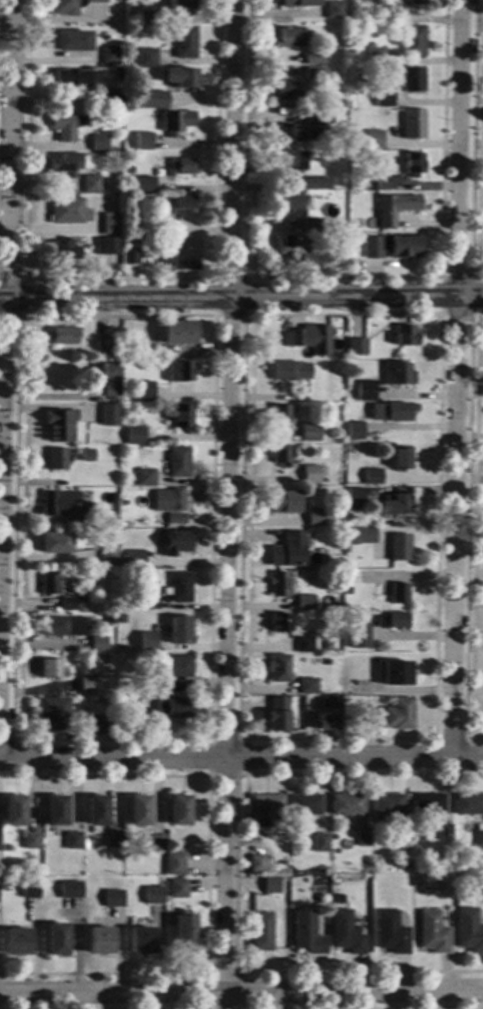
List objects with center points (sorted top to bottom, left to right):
building: (361, 2)
building: (416, 2)
building: (299, 3)
building: (181, 4)
building: (70, 6)
building: (333, 10)
building: (396, 16)
building: (147, 17)
building: (290, 38)
building: (72, 41)
building: (414, 41)
building: (345, 42)
building: (186, 43)
building: (376, 55)
building: (111, 56)
building: (147, 59)
building: (314, 59)
building: (313, 73)
building: (118, 75)
building: (72, 78)
building: (183, 78)
building: (413, 80)
building: (286, 89)
building: (384, 99)
building: (114, 101)
building: (157, 101)
building: (339, 103)
building: (314, 118)
building: (177, 122)
building: (414, 124)
building: (64, 126)
building: (290, 134)
building: (374, 140)
road: (480, 140)
building: (144, 141)
building: (102, 144)
building: (291, 160)
building: (66, 164)
building: (414, 165)
building: (181, 167)
building: (384, 182)
building: (315, 184)
building: (92, 185)
building: (144, 185)
building: (183, 202)
building: (291, 204)
building: (395, 208)
building: (68, 211)
building: (111, 225)
building: (312, 226)
building: (357, 226)
building: (164, 229)
building: (338, 242)
building: (309, 243)
building: (286, 245)
building: (108, 246)
building: (392, 247)
building: (64, 249)
building: (183, 254)
building: (130, 255)
road: (478, 277)
road: (345, 278)
road: (119, 280)
road: (24, 298)
road: (241, 298)
road: (250, 315)
building: (178, 333)
building: (63, 336)
building: (405, 336)
building: (309, 340)
building: (102, 347)
building: (356, 348)
building: (142, 352)
building: (336, 368)
building: (180, 371)
building: (290, 371)
building: (397, 373)
building: (105, 377)
road: (7, 379)
road: (460, 379)
building: (365, 391)
building: (143, 392)
building: (128, 396)
building: (392, 412)
building: (281, 414)
building: (108, 416)
building: (181, 417)
building: (59, 426)
building: (355, 431)
building: (309, 433)
building: (134, 436)
building: (86, 455)
building: (281, 455)
building: (57, 459)
building: (400, 459)
building: (178, 462)
building: (310, 475)
building: (144, 477)
building: (371, 477)
building: (354, 499)
building: (168, 501)
building: (56, 502)
building: (283, 502)
road: (231, 504)
building: (394, 505)
building: (83, 517)
building: (315, 517)
building: (175, 519)
building: (124, 522)
building: (111, 523)
road: (473, 529)
building: (366, 535)
building: (55, 543)
building: (177, 543)
building: (399, 548)
building: (288, 550)
building: (107, 559)
building: (134, 560)
building: (335, 563)
building: (49, 584)
building: (279, 585)
building: (337, 585)
building: (178, 588)
building: (399, 594)
building: (148, 601)
building: (304, 603)
building: (67, 604)
building: (121, 619)
building: (109, 620)
building: (391, 620)
building: (281, 623)
building: (63, 627)
building: (178, 630)
building: (358, 635)
building: (147, 641)
building: (327, 645)
building: (305, 646)
building: (278, 669)
building: (52, 670)
building: (174, 672)
building: (396, 674)
building: (307, 686)
building: (90, 687)
building: (289, 701)
building: (330, 703)
building: (169, 708)
building: (53, 714)
building: (400, 714)
building: (277, 715)
building: (373, 720)
building: (323, 723)
road: (208, 739)
road: (245, 739)
road: (17, 749)
road: (241, 758)
road: (244, 775)
building: (347, 804)
building: (428, 804)
building: (468, 804)
building: (305, 805)
building: (386, 808)
building: (265, 809)
building: (55, 810)
building: (138, 810)
building: (14, 811)
building: (96, 811)
building: (179, 811)
building: (404, 833)
building: (445, 833)
building: (362, 838)
building: (479, 839)
building: (112, 840)
building: (29, 841)
building: (72, 841)
building: (320, 843)
building: (152, 844)
building: (404, 846)
building: (405, 863)
building: (174, 864)
building: (257, 864)
building: (29, 871)
road: (206, 872)
road: (242, 875)
building: (271, 885)
building: (69, 889)
building: (177, 889)
building: (29, 890)
building: (153, 896)
building: (112, 899)
building: (338, 899)
building: (468, 930)
building: (261, 932)
building: (434, 932)
building: (307, 933)
building: (345, 933)
building: (391, 933)
building: (184, 935)
building: (55, 940)
building: (99, 941)
building: (140, 941)
building: (16, 942)
road: (223, 973)
road: (241, 993)
road: (467, 1008)

